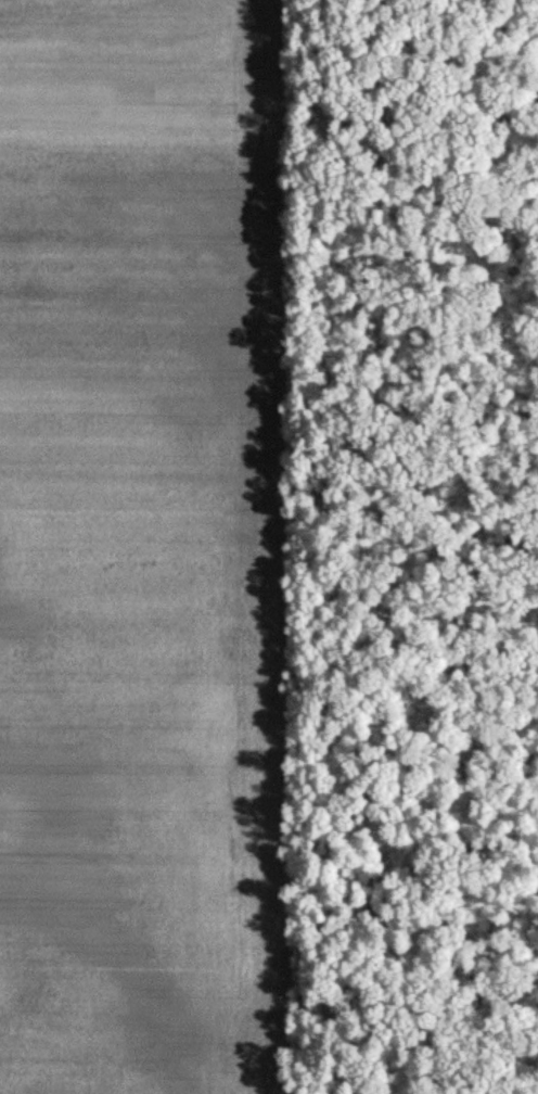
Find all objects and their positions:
building: (536, 77)

